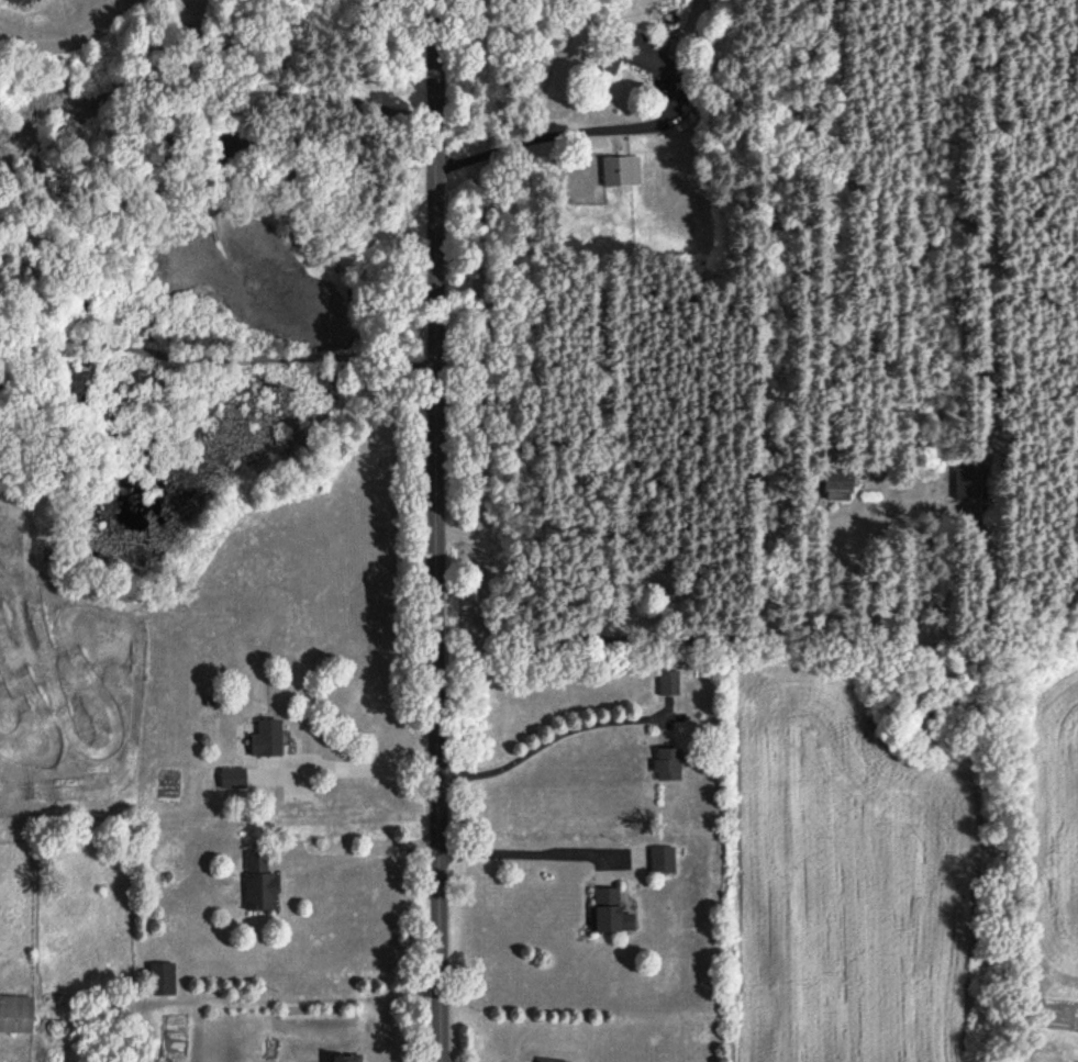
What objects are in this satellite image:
building: (636, 56)
road: (563, 134)
building: (622, 172)
road: (216, 358)
building: (970, 487)
building: (842, 488)
road: (438, 530)
building: (669, 683)
building: (268, 740)
road: (548, 740)
building: (667, 765)
road: (353, 769)
building: (234, 780)
road: (362, 854)
road: (532, 854)
building: (662, 862)
building: (262, 885)
building: (609, 912)
building: (165, 981)
building: (18, 1016)
building: (349, 1059)
building: (548, 1061)

